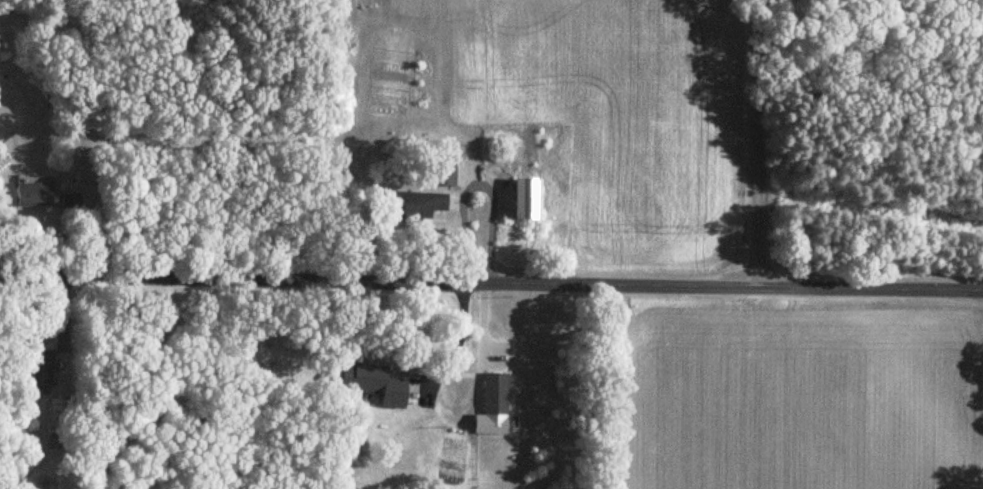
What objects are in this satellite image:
building: (341, 23)
road: (755, 143)
building: (455, 174)
building: (35, 193)
building: (528, 200)
building: (417, 207)
road: (491, 282)
road: (457, 338)
building: (41, 369)
building: (375, 383)
building: (496, 395)
building: (60, 413)

